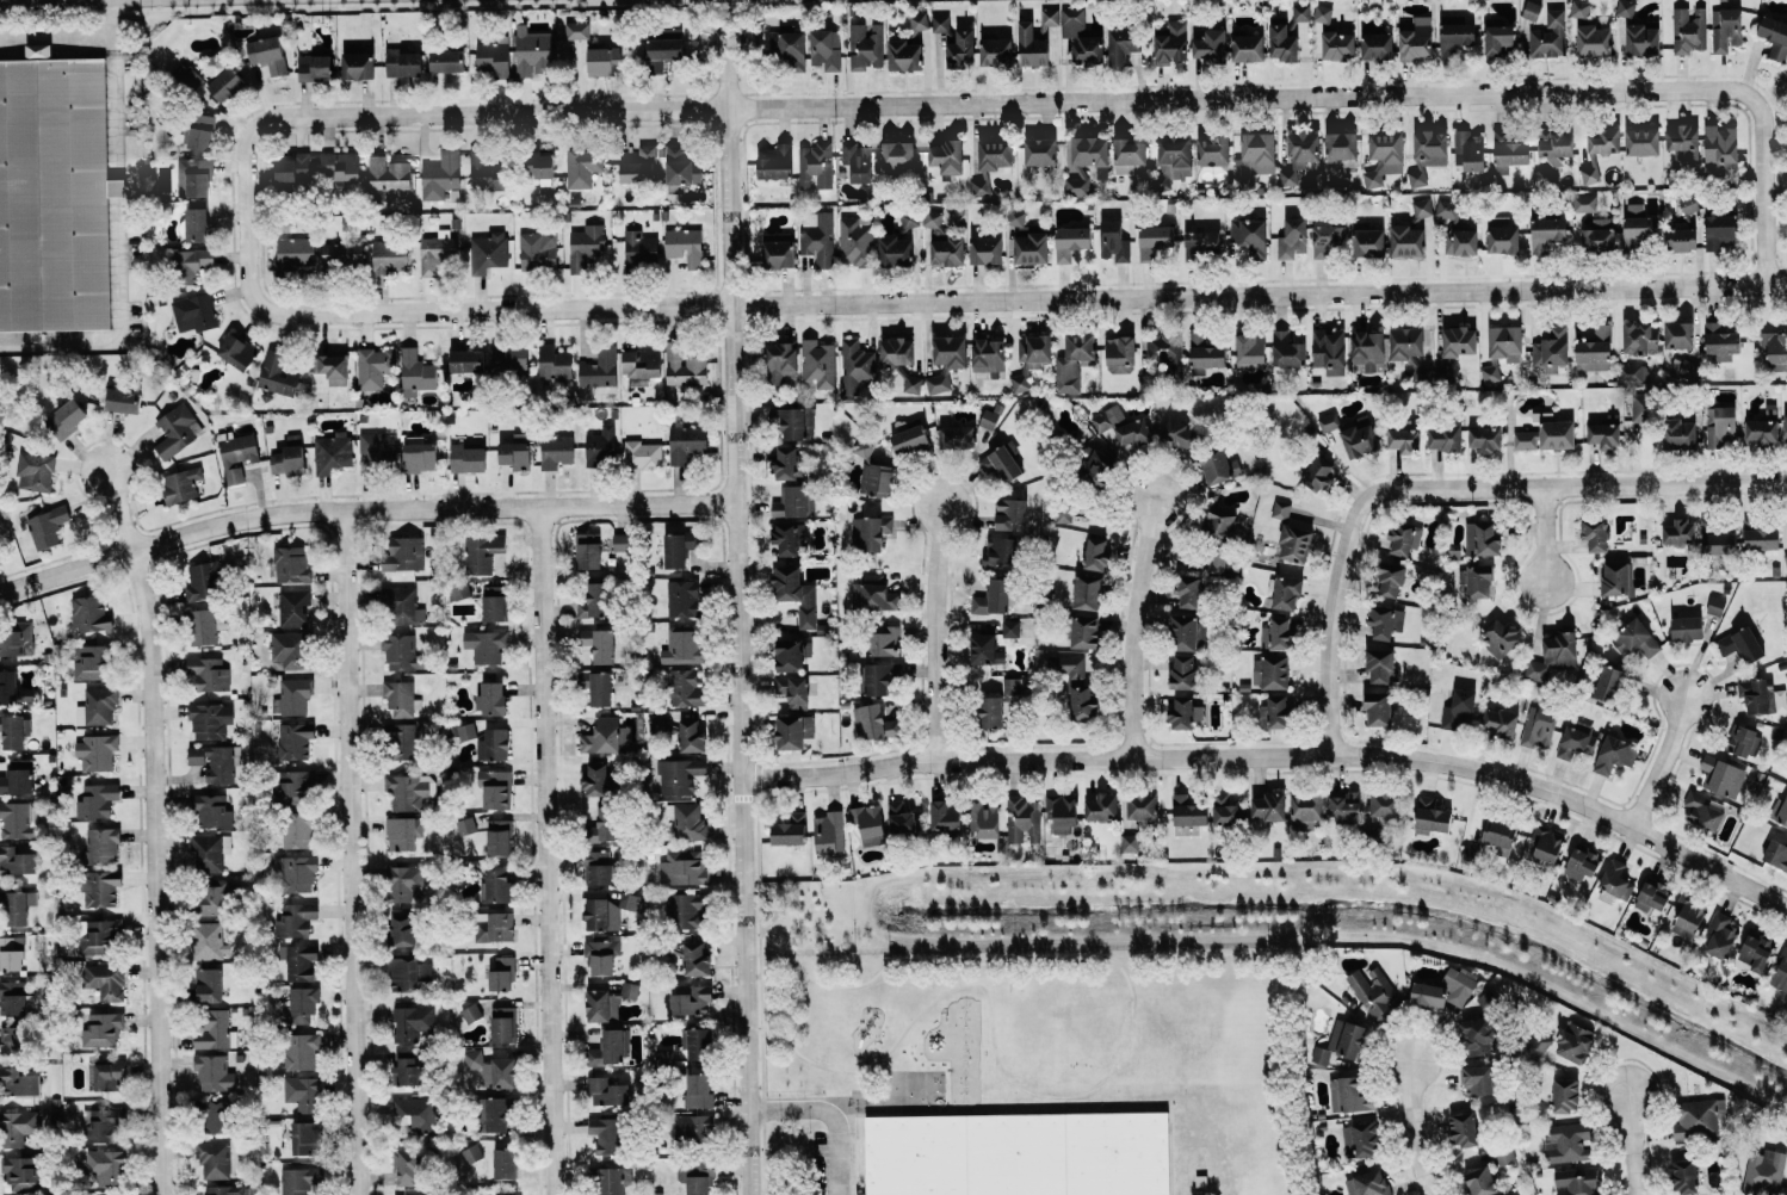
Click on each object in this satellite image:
building: (1579, 7)
building: (1626, 7)
building: (1532, 10)
building: (1300, 11)
building: (1323, 13)
building: (1050, 17)
building: (919, 21)
building: (940, 23)
building: (1689, 29)
building: (1725, 29)
building: (576, 30)
building: (1454, 35)
building: (1547, 36)
building: (1774, 36)
building: (1081, 38)
building: (1416, 38)
building: (1641, 38)
building: (1281, 39)
building: (1500, 39)
road: (76, 41)
building: (1594, 41)
building: (1123, 43)
building: (1171, 43)
building: (1375, 43)
building: (866, 45)
building: (1210, 45)
building: (1338, 45)
building: (663, 47)
building: (1032, 47)
building: (1249, 48)
building: (789, 49)
building: (826, 49)
building: (961, 49)
building: (38, 50)
building: (531, 50)
building: (996, 51)
building: (267, 54)
building: (904, 55)
building: (494, 56)
building: (604, 60)
building: (446, 61)
building: (403, 63)
building: (358, 64)
building: (314, 67)
road: (1106, 97)
building: (200, 131)
building: (1604, 140)
building: (1641, 141)
building: (1683, 142)
building: (1430, 143)
building: (1554, 144)
building: (1720, 148)
building: (1470, 149)
building: (1040, 150)
building: (1213, 150)
building: (1341, 151)
building: (1507, 151)
building: (897, 154)
building: (1299, 154)
building: (947, 155)
building: (995, 155)
building: (1130, 155)
building: (1175, 156)
building: (1385, 156)
building: (1255, 157)
building: (858, 160)
building: (1084, 161)
building: (538, 163)
building: (681, 165)
building: (777, 165)
building: (340, 166)
building: (583, 166)
building: (639, 166)
building: (816, 166)
building: (292, 168)
building: (484, 171)
building: (1590, 171)
building: (388, 173)
building: (441, 175)
building: (194, 177)
building: (1417, 177)
building: (981, 182)
building: (55, 196)
building: (1585, 203)
building: (1688, 203)
building: (1422, 208)
building: (1016, 217)
building: (932, 218)
building: (197, 224)
building: (910, 225)
building: (1638, 225)
building: (1455, 229)
building: (1719, 230)
building: (1546, 233)
building: (1502, 235)
building: (1599, 235)
building: (1249, 236)
building: (1292, 237)
building: (820, 239)
building: (1327, 239)
building: (1681, 239)
building: (1114, 240)
building: (1154, 240)
building: (1367, 240)
building: (855, 241)
building: (1070, 241)
building: (1406, 241)
building: (1031, 244)
building: (1201, 244)
building: (585, 246)
building: (685, 246)
building: (639, 249)
building: (435, 250)
building: (538, 250)
building: (947, 250)
building: (985, 250)
building: (488, 252)
building: (895, 252)
building: (293, 254)
building: (779, 254)
building: (341, 255)
building: (389, 256)
building: (191, 264)
road: (925, 301)
building: (194, 311)
building: (1678, 334)
building: (1640, 338)
building: (1459, 341)
building: (1505, 342)
building: (1720, 342)
building: (1552, 348)
building: (1775, 348)
building: (1250, 349)
building: (1287, 349)
building: (1367, 349)
building: (1595, 349)
building: (1165, 351)
building: (1205, 351)
building: (1329, 351)
building: (1410, 351)
building: (237, 352)
building: (897, 352)
building: (1119, 354)
building: (988, 355)
building: (509, 357)
building: (1031, 358)
building: (466, 361)
building: (946, 361)
building: (1074, 361)
building: (781, 363)
building: (554, 364)
building: (817, 364)
building: (641, 365)
building: (855, 365)
building: (375, 366)
building: (684, 366)
building: (332, 367)
building: (600, 367)
building: (416, 372)
building: (1491, 372)
building: (1633, 372)
building: (277, 374)
building: (911, 383)
building: (123, 400)
building: (1641, 407)
building: (66, 419)
building: (988, 419)
building: (794, 421)
building: (1328, 421)
building: (1785, 426)
building: (1124, 427)
building: (1723, 427)
building: (177, 429)
building: (1762, 429)
building: (1604, 432)
building: (1180, 433)
building: (1546, 433)
building: (1680, 433)
building: (1404, 436)
building: (1443, 436)
building: (957, 438)
building: (1485, 438)
building: (909, 439)
building: (1359, 440)
building: (687, 442)
building: (601, 446)
building: (556, 450)
building: (377, 452)
building: (332, 453)
building: (237, 454)
building: (515, 454)
building: (643, 454)
building: (289, 457)
building: (419, 457)
building: (468, 458)
building: (785, 463)
building: (1002, 464)
building: (1219, 466)
building: (1097, 468)
building: (873, 470)
building: (35, 471)
building: (1319, 472)
building: (181, 484)
road: (1446, 488)
building: (794, 501)
building: (1281, 509)
road: (361, 512)
building: (1009, 513)
building: (1219, 522)
building: (47, 526)
building: (872, 532)
building: (1678, 532)
building: (1595, 534)
building: (1400, 535)
road: (1546, 535)
building: (787, 537)
building: (1761, 537)
building: (1482, 539)
building: (620, 541)
building: (1718, 541)
building: (1294, 543)
building: (658, 544)
building: (680, 547)
building: (588, 550)
building: (1000, 551)
building: (482, 552)
building: (403, 553)
building: (1095, 553)
building: (1217, 563)
building: (291, 564)
building: (1615, 577)
building: (1390, 578)
building: (203, 581)
building: (1479, 581)
building: (459, 589)
building: (1188, 589)
building: (1088, 592)
building: (1286, 592)
building: (796, 593)
building: (878, 593)
building: (684, 597)
road: (737, 597)
building: (993, 597)
building: (595, 601)
building: (494, 603)
building: (1715, 605)
building: (403, 606)
building: (293, 607)
building: (89, 613)
building: (1385, 621)
building: (205, 625)
road: (1136, 626)
building: (1010, 627)
building: (1686, 629)
road: (936, 630)
building: (1084, 631)
building: (1183, 632)
building: (1278, 633)
building: (1501, 637)
building: (14, 640)
building: (885, 640)
building: (1635, 640)
building: (599, 644)
building: (1740, 644)
building: (486, 645)
building: (682, 645)
building: (985, 648)
building: (289, 650)
building: (400, 651)
building: (792, 652)
building: (1553, 655)
building: (92, 661)
building: (1066, 665)
building: (1379, 665)
building: (1270, 671)
building: (208, 673)
building: (1183, 673)
building: (878, 677)
building: (1607, 683)
building: (1012, 685)
building: (8, 687)
building: (600, 688)
building: (685, 688)
building: (793, 689)
building: (293, 695)
building: (1762, 696)
building: (401, 698)
building: (491, 699)
building: (97, 706)
building: (1378, 708)
building: (1458, 708)
building: (989, 711)
building: (1185, 711)
building: (1275, 712)
building: (210, 720)
building: (1498, 722)
building: (664, 723)
building: (876, 723)
building: (1539, 726)
building: (14, 730)
building: (462, 730)
building: (793, 731)
building: (692, 733)
building: (606, 736)
building: (296, 739)
building: (402, 741)
building: (1744, 741)
building: (1572, 742)
building: (494, 744)
building: (97, 751)
road: (1279, 753)
building: (1615, 754)
road: (1659, 760)
building: (214, 761)
building: (680, 775)
building: (1721, 775)
building: (18, 776)
building: (599, 780)
building: (297, 787)
building: (495, 788)
building: (409, 790)
building: (98, 799)
building: (1344, 804)
building: (1268, 805)
building: (1139, 806)
building: (1384, 806)
building: (1101, 807)
building: (1188, 810)
building: (1224, 810)
building: (1305, 810)
building: (1703, 810)
building: (211, 811)
building: (1062, 812)
building: (1779, 812)
building: (1432, 816)
building: (945, 817)
building: (984, 817)
building: (901, 818)
building: (18, 819)
building: (1022, 819)
building: (690, 822)
building: (601, 823)
building: (868, 823)
building: (466, 825)
building: (297, 829)
building: (790, 830)
road: (154, 831)
building: (829, 831)
building: (403, 832)
building: (1500, 832)
building: (499, 837)
building: (1130, 842)
building: (1547, 843)
building: (100, 844)
building: (209, 852)
road: (545, 852)
building: (1470, 853)
building: (1776, 853)
road: (350, 854)
building: (16, 860)
building: (1582, 862)
building: (596, 867)
building: (684, 867)
building: (298, 873)
building: (1616, 878)
building: (404, 881)
building: (495, 885)
building: (100, 887)
building: (1652, 896)
building: (214, 897)
building: (630, 902)
building: (17, 905)
building: (688, 909)
building: (596, 914)
building: (1688, 916)
building: (297, 918)
building: (494, 925)
building: (402, 929)
building: (103, 935)
building: (1720, 936)
building: (209, 941)
building: (1756, 951)
building: (11, 953)
building: (601, 955)
building: (695, 959)
building: (301, 961)
building: (408, 972)
building: (1780, 972)
building: (502, 973)
building: (105, 980)
building: (209, 984)
building: (1445, 990)
building: (1373, 991)
building: (14, 997)
building: (692, 1001)
building: (608, 1002)
building: (303, 1003)
building: (468, 1014)
building: (412, 1022)
building: (502, 1024)
building: (103, 1029)
building: (215, 1030)
building: (1478, 1035)
building: (13, 1040)
building: (1575, 1041)
building: (1338, 1042)
building: (699, 1044)
building: (608, 1048)
building: (302, 1050)
building: (493, 1069)
building: (408, 1070)
building: (211, 1072)
building: (107, 1076)
building: (20, 1079)
building: (1477, 1079)
building: (607, 1091)
building: (698, 1091)
building: (303, 1092)
building: (1349, 1095)
building: (1565, 1095)
building: (413, 1113)
building: (494, 1114)
road: (830, 1114)
building: (218, 1116)
building: (1699, 1117)
building: (105, 1126)
building: (17, 1127)
building: (693, 1128)
road: (1411, 1128)
building: (1463, 1129)
building: (607, 1135)
building: (307, 1138)
building: (1361, 1139)
building: (1569, 1143)
road: (1632, 1143)
building: (1018, 1152)
building: (1503, 1158)
building: (214, 1159)
building: (505, 1163)
building: (107, 1166)
building: (407, 1166)
building: (1764, 1170)
building: (23, 1174)
building: (695, 1176)
building: (1683, 1176)
building: (299, 1179)
building: (612, 1179)
building: (1480, 1181)
building: (1577, 1181)
building: (1367, 1183)
building: (223, 1189)
building: (410, 1194)
building: (514, 1194)
building: (1507, 1194)

